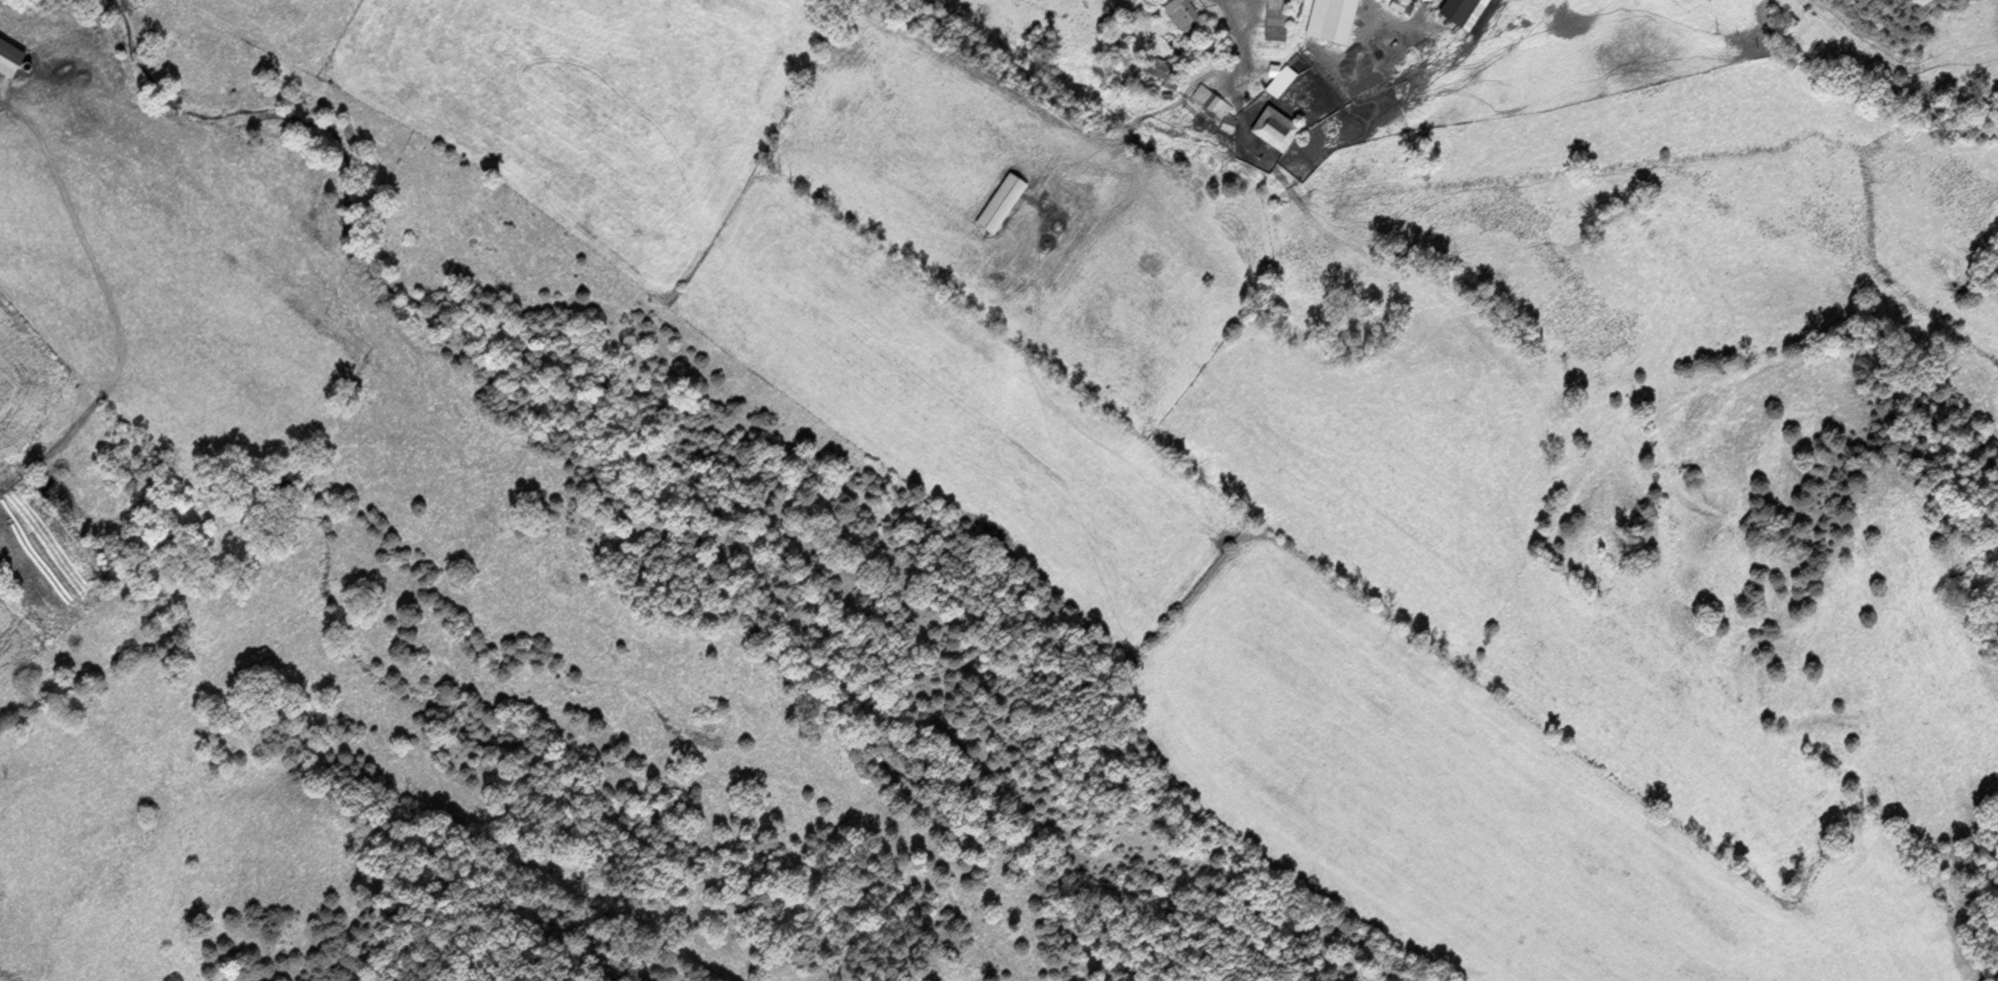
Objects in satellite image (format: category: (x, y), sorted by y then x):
building: (1466, 11)
building: (1180, 12)
building: (1278, 18)
building: (1334, 18)
road: (1243, 38)
building: (11, 57)
building: (1156, 65)
building: (1210, 100)
building: (1277, 128)
building: (1003, 202)
road: (109, 309)

